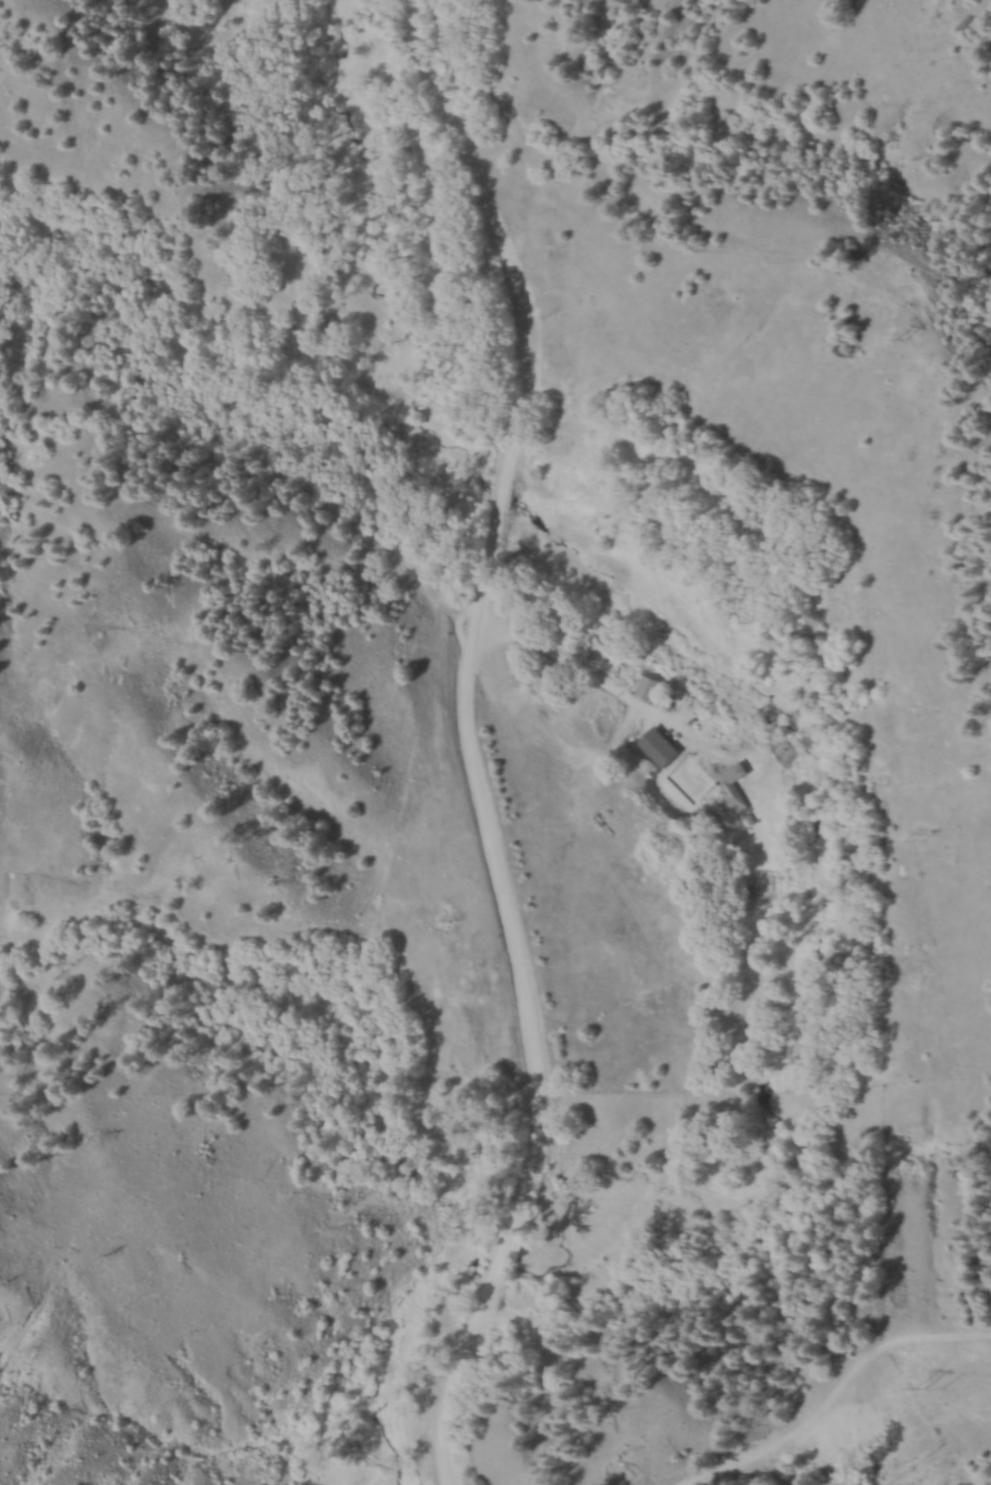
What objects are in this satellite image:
power tower: (911, 337)
road: (596, 678)
building: (658, 690)
road: (463, 742)
building: (736, 785)
power tower: (918, 839)
power tower: (925, 1386)

